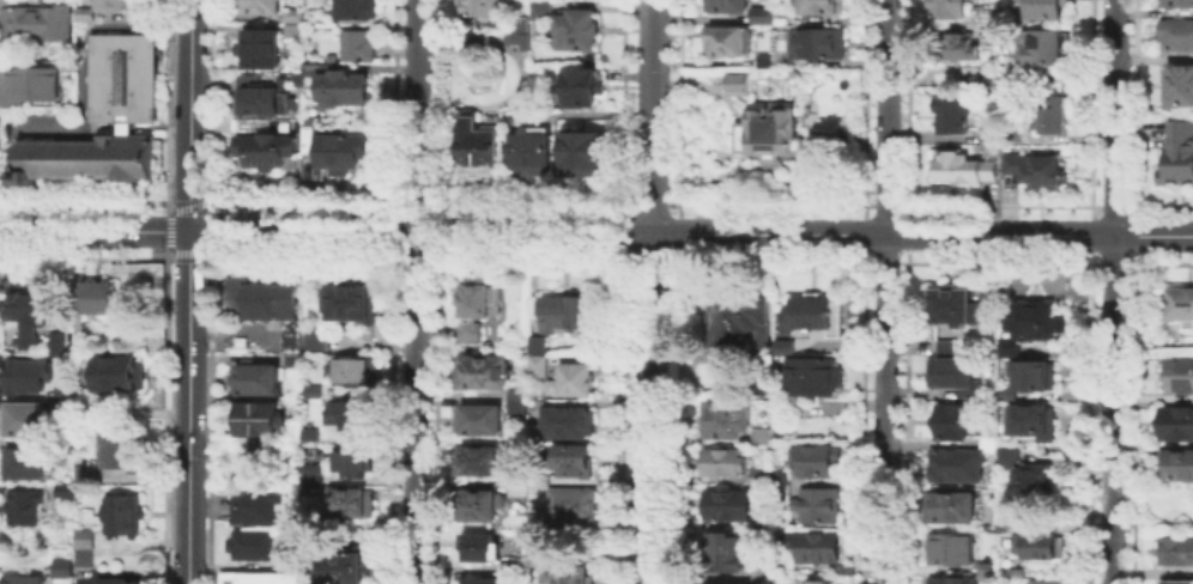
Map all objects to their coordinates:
building: (12, 1)
building: (1176, 2)
building: (116, 4)
building: (260, 5)
building: (726, 5)
building: (479, 6)
building: (820, 6)
building: (353, 8)
building: (951, 10)
building: (1048, 10)
building: (84, 12)
building: (292, 13)
building: (545, 13)
building: (761, 13)
building: (36, 19)
building: (520, 22)
building: (991, 23)
road: (81, 29)
building: (291, 29)
building: (582, 31)
building: (1175, 32)
building: (478, 37)
building: (519, 37)
building: (726, 38)
building: (817, 42)
building: (356, 43)
building: (258, 45)
building: (1044, 47)
building: (961, 49)
building: (329, 55)
building: (764, 59)
building: (67, 63)
building: (738, 81)
building: (28, 83)
building: (338, 83)
building: (1177, 83)
building: (580, 89)
building: (260, 93)
building: (956, 116)
building: (1053, 116)
building: (104, 117)
building: (310, 118)
parking lot: (34, 122)
building: (246, 123)
road: (34, 128)
building: (768, 132)
building: (992, 134)
building: (307, 138)
building: (477, 146)
building: (266, 147)
building: (340, 150)
building: (531, 150)
building: (582, 150)
building: (1177, 150)
building: (965, 170)
building: (1037, 170)
road: (93, 231)
traffic signals: (189, 232)
road: (691, 233)
road: (189, 291)
road: (885, 291)
road: (416, 292)
road: (652, 292)
road: (1113, 292)
building: (98, 297)
building: (260, 297)
building: (350, 299)
building: (482, 303)
building: (1177, 304)
building: (953, 305)
building: (812, 312)
building: (29, 315)
building: (569, 315)
building: (1035, 317)
building: (739, 321)
road: (236, 326)
parking lot: (272, 334)
building: (291, 334)
building: (472, 335)
building: (314, 337)
building: (238, 339)
building: (84, 340)
building: (56, 342)
building: (537, 342)
building: (783, 345)
building: (944, 345)
building: (1007, 346)
building: (292, 359)
building: (353, 367)
building: (540, 370)
building: (117, 371)
building: (952, 372)
building: (1031, 372)
building: (24, 373)
building: (1176, 373)
building: (484, 375)
building: (811, 375)
building: (255, 376)
building: (580, 381)
building: (763, 382)
building: (62, 388)
building: (311, 389)
building: (1006, 391)
building: (62, 402)
building: (84, 402)
building: (520, 404)
building: (343, 412)
building: (729, 416)
building: (24, 418)
building: (259, 419)
building: (951, 419)
building: (1032, 419)
building: (1175, 421)
building: (480, 422)
building: (568, 425)
building: (310, 432)
building: (988, 437)
building: (119, 445)
building: (989, 445)
building: (1007, 454)
building: (816, 457)
building: (356, 458)
building: (723, 460)
building: (25, 461)
building: (577, 463)
building: (957, 463)
building: (1175, 463)
building: (484, 466)
building: (311, 472)
building: (759, 474)
building: (84, 475)
building: (780, 481)
building: (1029, 485)
building: (63, 488)
building: (522, 488)
building: (351, 501)
building: (728, 503)
building: (818, 503)
building: (256, 504)
building: (23, 505)
building: (951, 505)
building: (482, 509)
building: (571, 509)
building: (122, 512)
building: (310, 522)
building: (764, 523)
building: (1006, 523)
building: (83, 536)
building: (250, 542)
building: (1038, 543)
building: (816, 545)
building: (951, 546)
building: (1175, 548)
building: (484, 549)
building: (725, 549)
building: (538, 554)
building: (81, 555)
building: (286, 560)
building: (60, 566)
building: (341, 566)
building: (843, 566)
building: (987, 566)
road: (132, 570)
building: (1016, 570)
building: (517, 571)
parking lot: (84, 573)
building: (567, 573)
building: (259, 576)
building: (20, 578)
building: (115, 579)
building: (953, 579)
building: (1046, 580)
building: (1175, 580)
building: (486, 582)
building: (819, 582)
building: (308, 583)
building: (733, 583)

